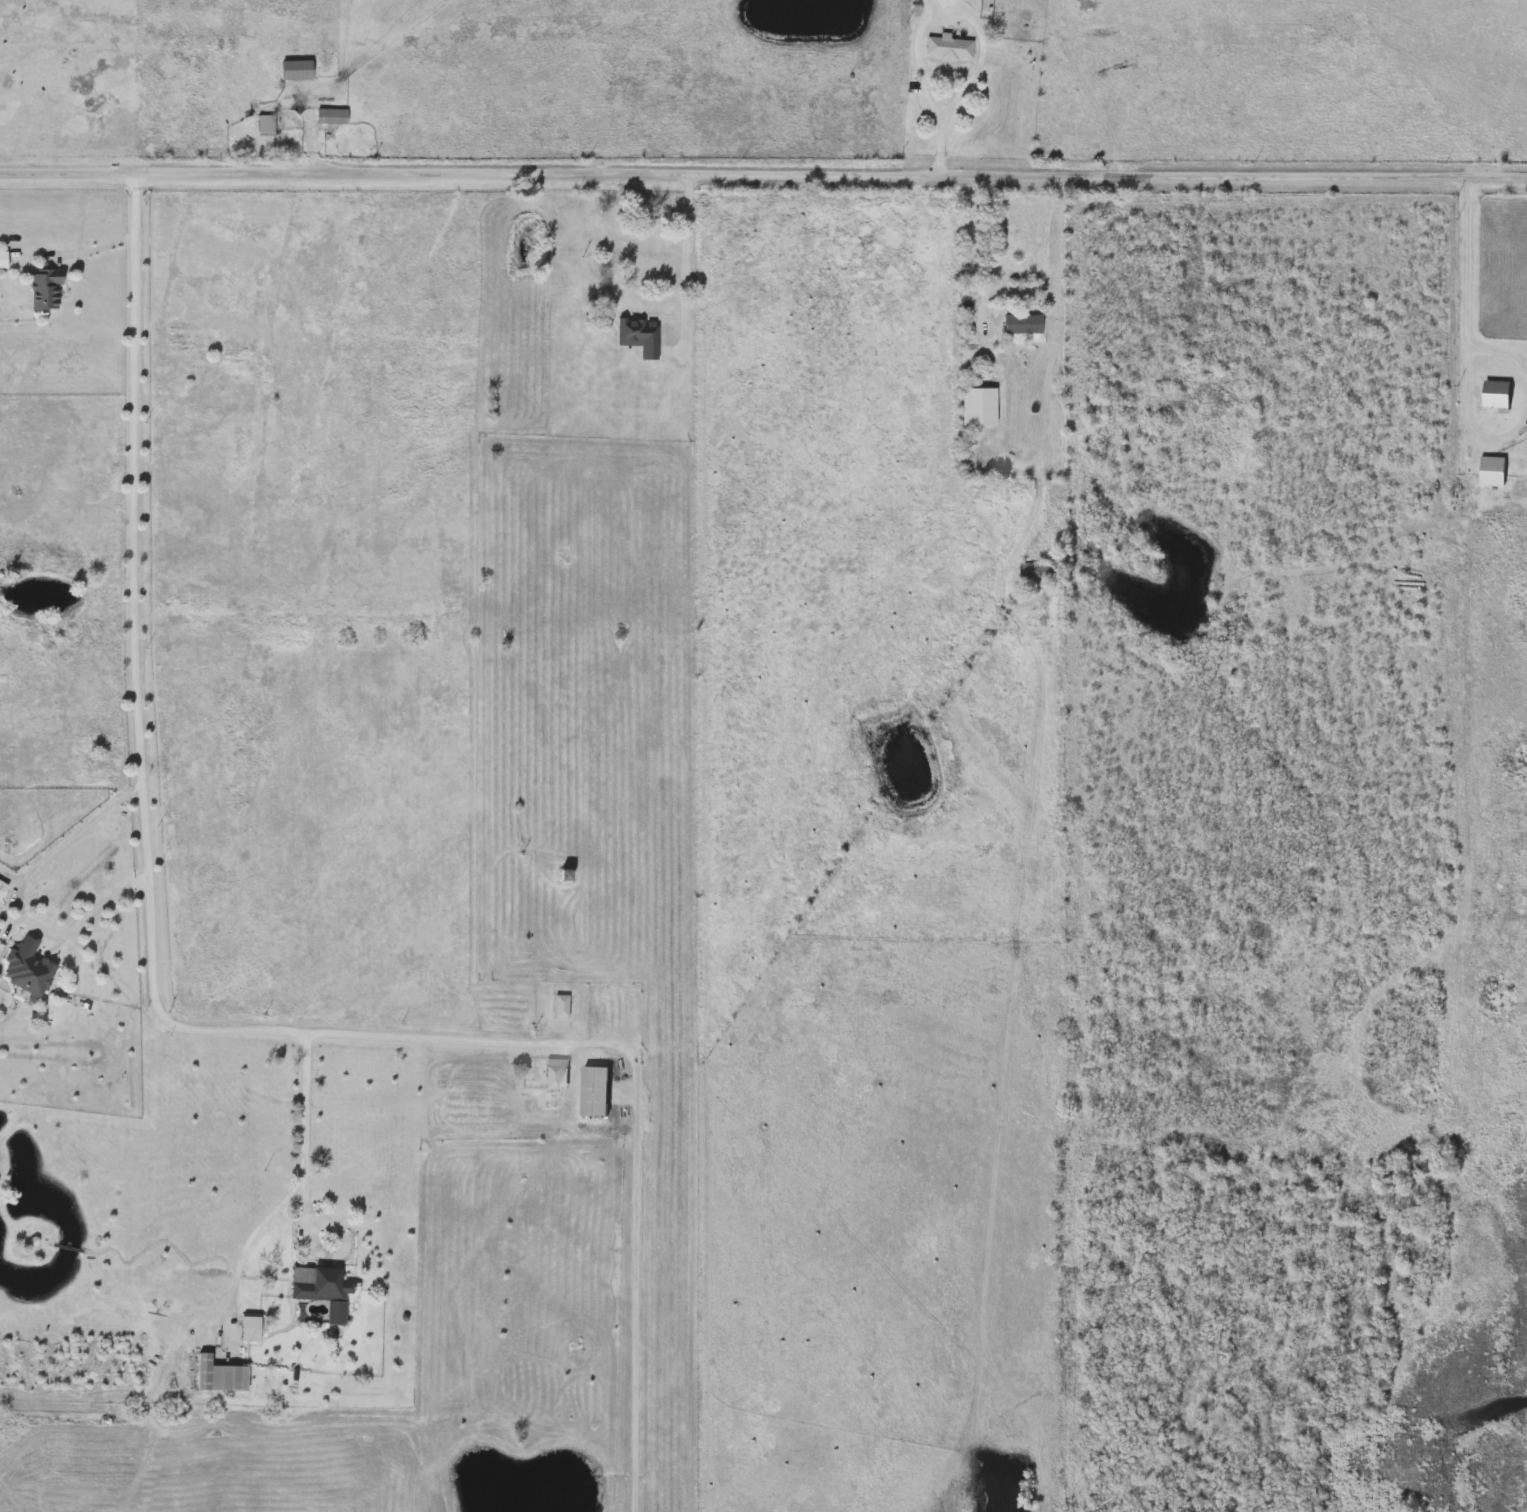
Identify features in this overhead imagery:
road: (923, 11)
building: (947, 46)
road: (917, 55)
building: (296, 69)
road: (1085, 85)
building: (331, 115)
building: (266, 123)
road: (940, 146)
road: (763, 172)
road: (986, 245)
road: (90, 247)
building: (4, 258)
building: (650, 261)
road: (1469, 262)
building: (45, 288)
road: (654, 299)
building: (1050, 328)
road: (1504, 351)
building: (1495, 395)
building: (978, 405)
road: (1476, 424)
building: (1037, 570)
road: (143, 770)
road: (1030, 831)
building: (2, 887)
road: (16, 892)
building: (28, 967)
building: (562, 1005)
road: (455, 1038)
building: (553, 1076)
building: (593, 1091)
road: (254, 1232)
road: (636, 1273)
building: (249, 1327)
building: (218, 1373)

